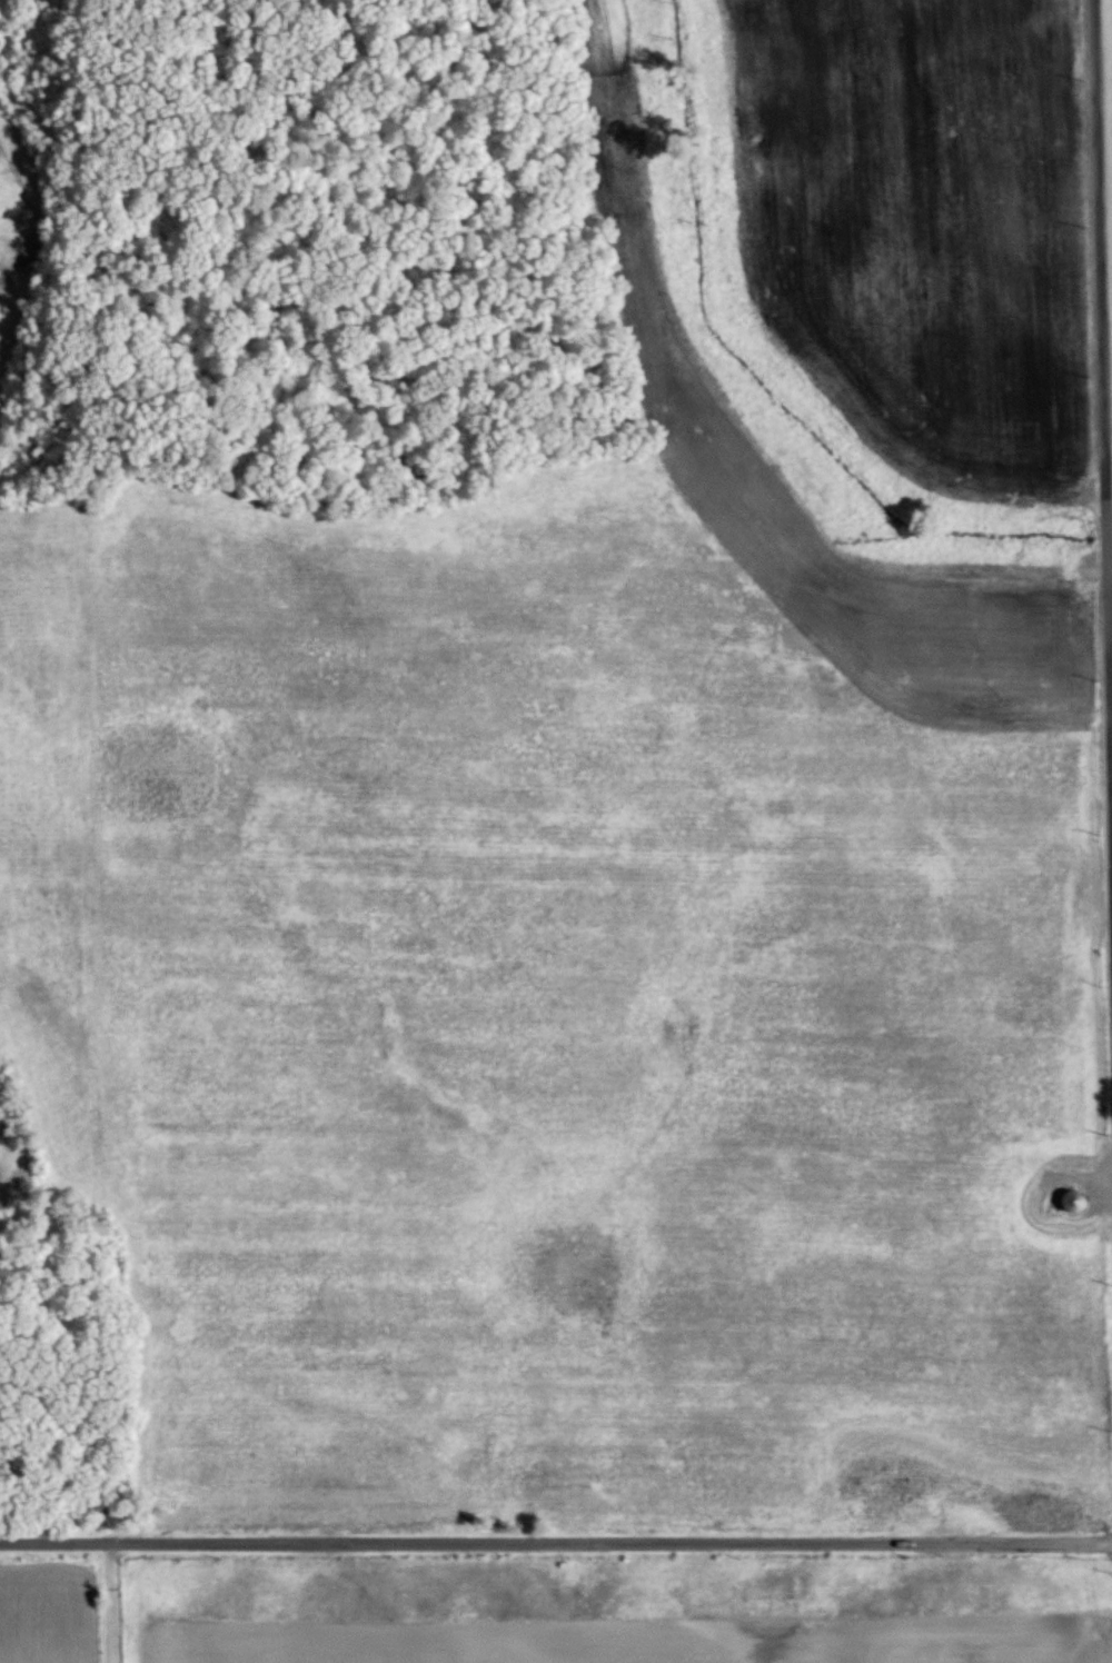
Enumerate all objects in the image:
road: (1104, 322)
road: (555, 1544)

